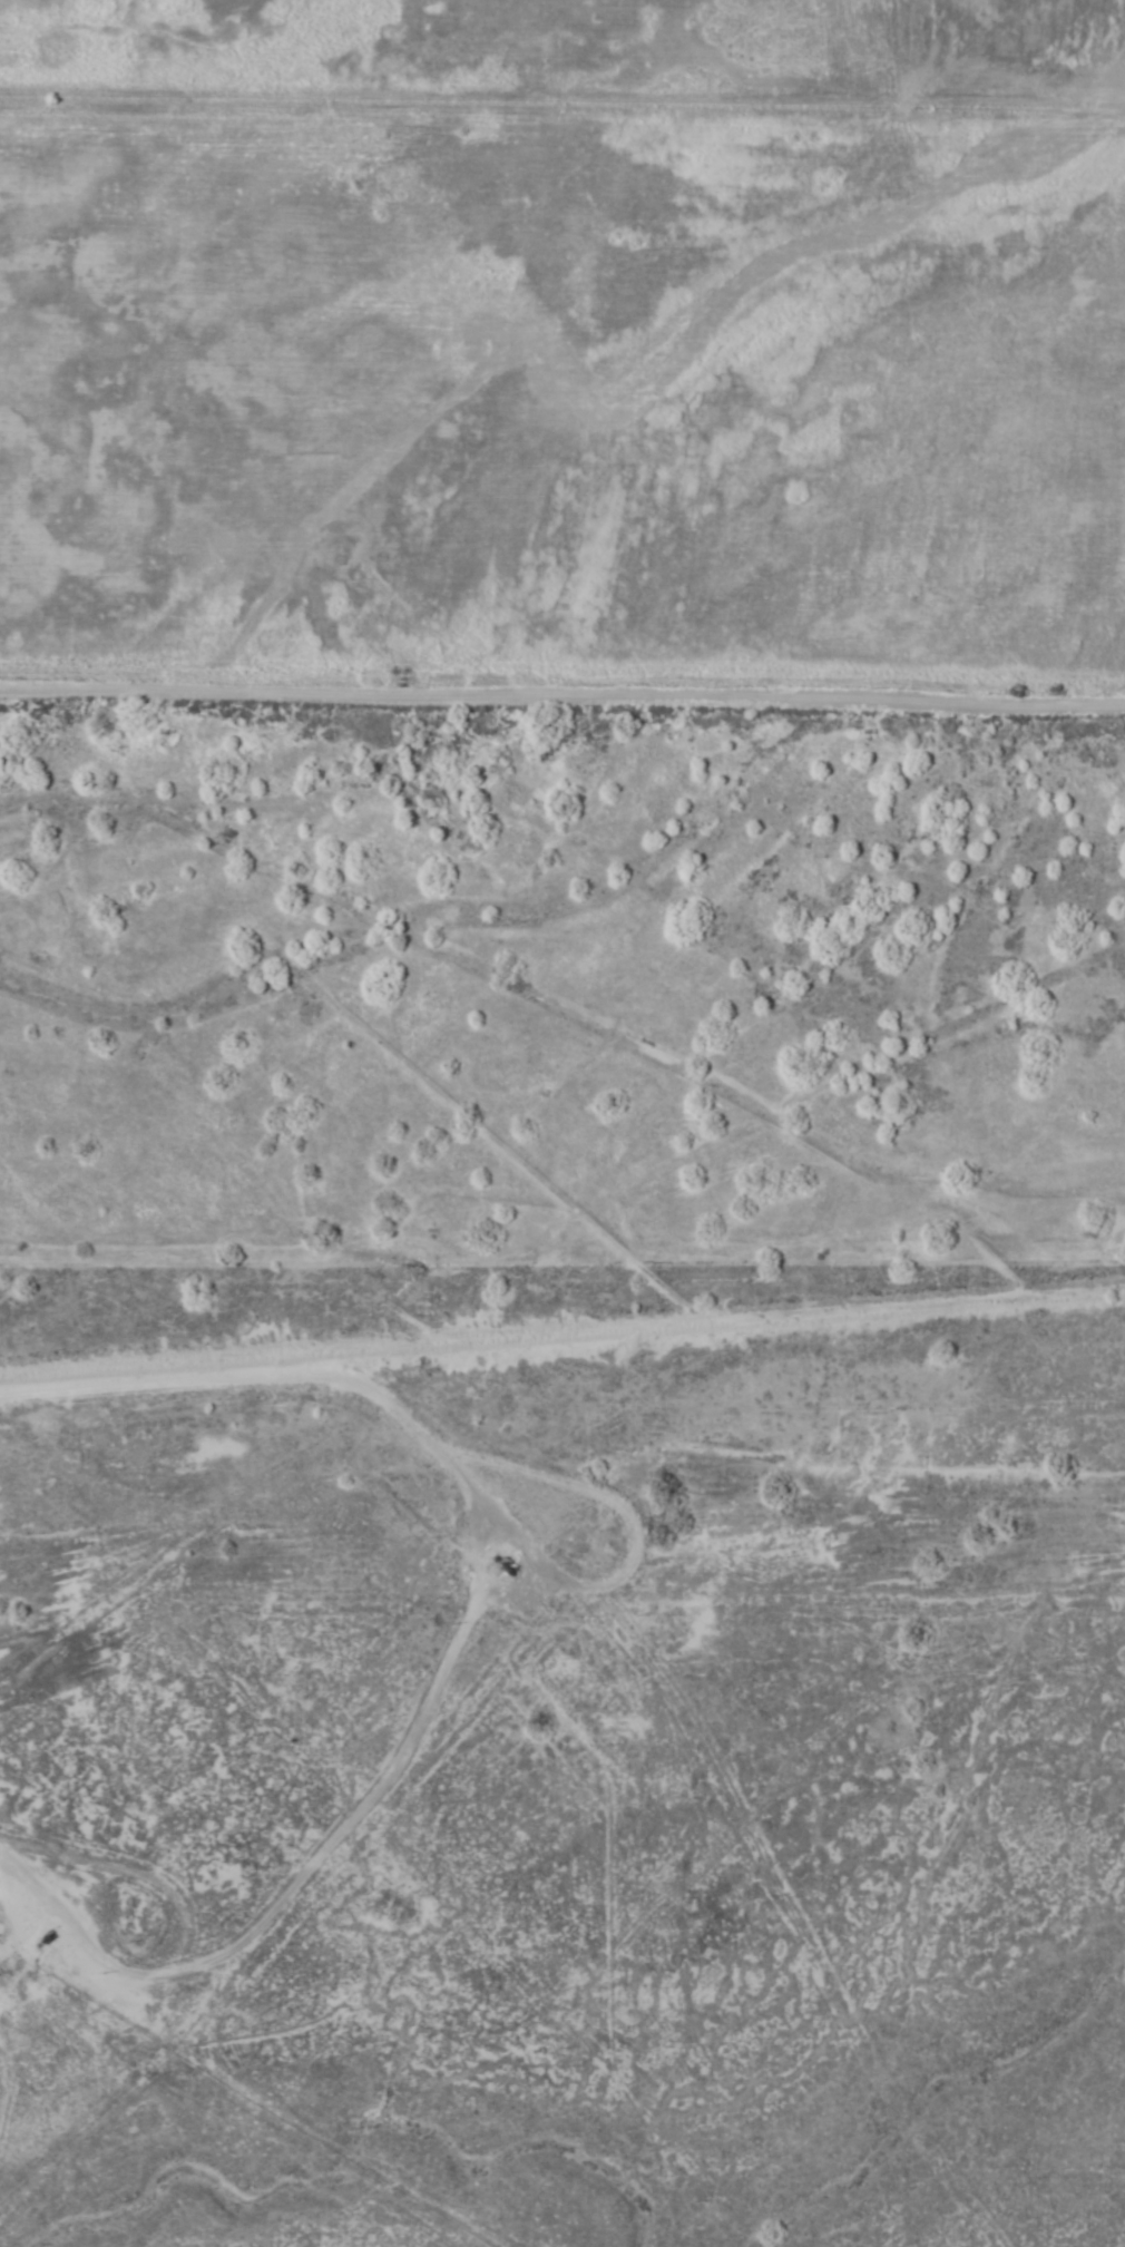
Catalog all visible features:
road: (561, 683)
road: (562, 1323)

